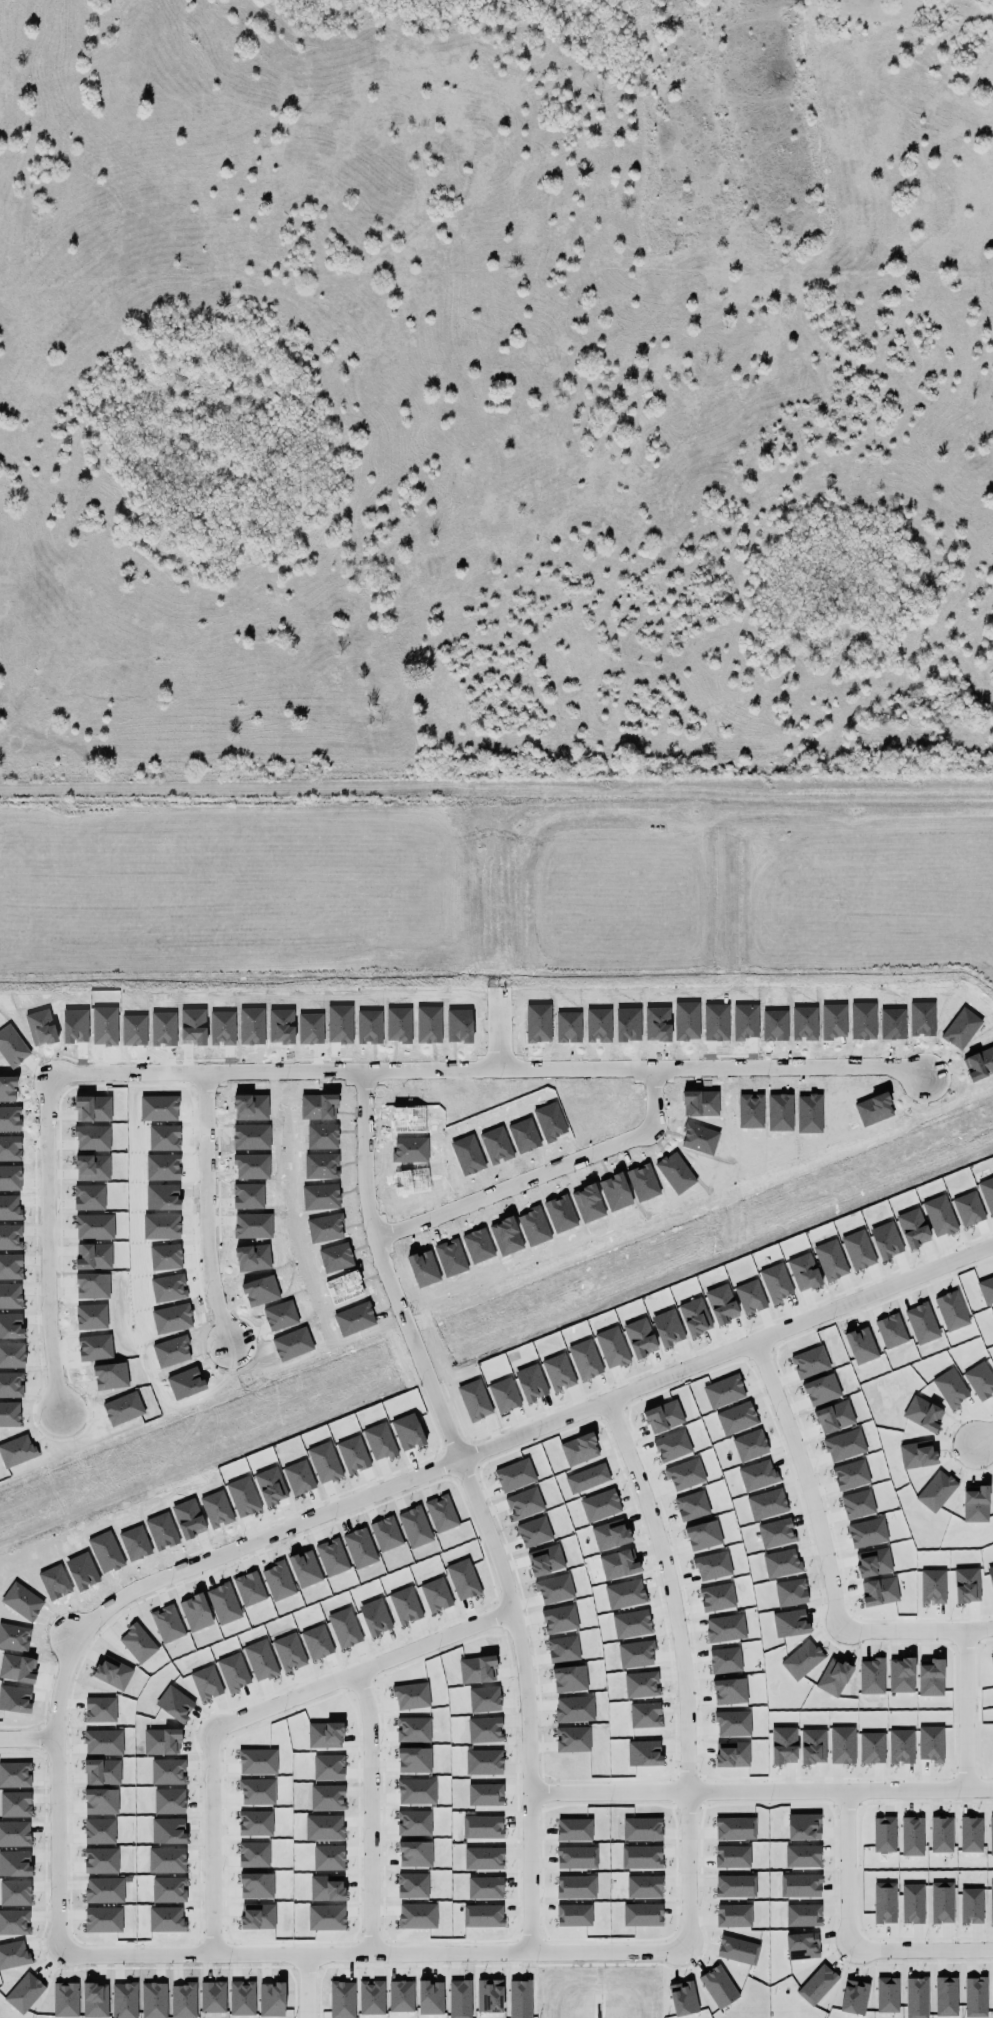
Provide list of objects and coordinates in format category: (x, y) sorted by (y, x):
road: (496, 1029)
road: (649, 1069)
road: (248, 1071)
road: (545, 1174)
road: (210, 1208)
road: (982, 1433)
road: (826, 1554)
road: (103, 1616)
building: (991, 1661)
road: (682, 1665)
road: (533, 1700)
road: (266, 1710)
road: (963, 1710)
road: (31, 1740)
road: (763, 1790)
building: (485, 1794)
road: (376, 1812)
building: (803, 1826)
building: (482, 1827)
building: (735, 1828)
building: (574, 1829)
building: (642, 1829)
building: (884, 1834)
building: (941, 1834)
building: (971, 1834)
building: (991, 1835)
building: (912, 1836)
building: (732, 1856)
building: (802, 1856)
building: (576, 1857)
building: (641, 1857)
building: (483, 1858)
building: (800, 1885)
building: (643, 1886)
building: (735, 1886)
building: (485, 1887)
building: (576, 1887)
building: (884, 1902)
building: (941, 1902)
building: (991, 1902)
building: (912, 1903)
building: (971, 1905)
building: (642, 1914)
building: (482, 1915)
building: (573, 1915)
building: (733, 1915)
building: (803, 1915)
road: (848, 1939)
building: (802, 1946)
building: (738, 1950)
building: (817, 1985)
road: (306, 1986)
building: (719, 1987)
building: (887, 1995)
building: (489, 1996)
building: (946, 1996)
building: (854, 1997)
building: (916, 1997)
building: (975, 1997)
building: (683, 1998)
building: (459, 1999)
building: (520, 1999)

